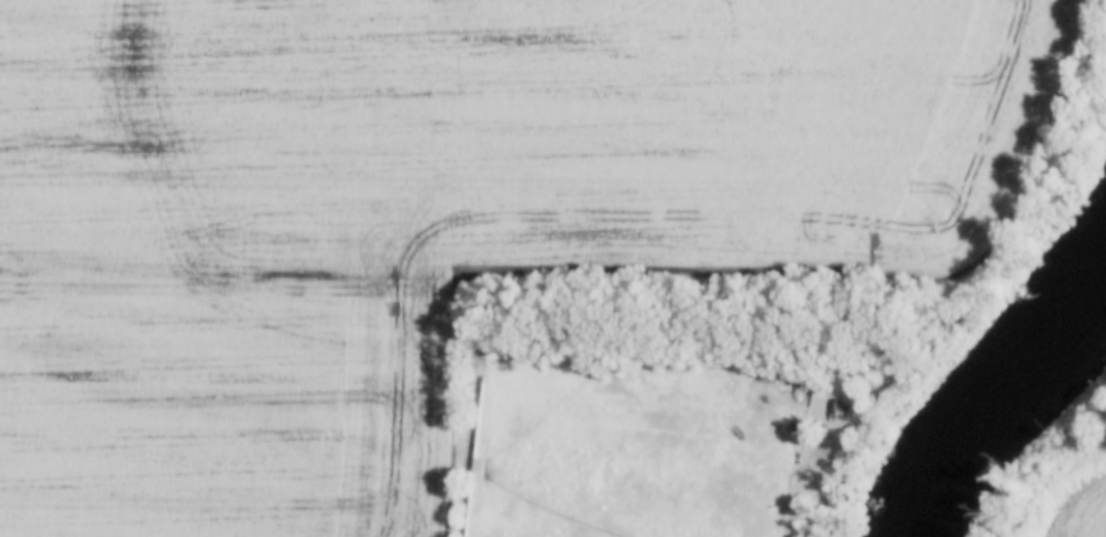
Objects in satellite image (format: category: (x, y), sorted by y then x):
river: (1007, 391)
crop: (1076, 505)

